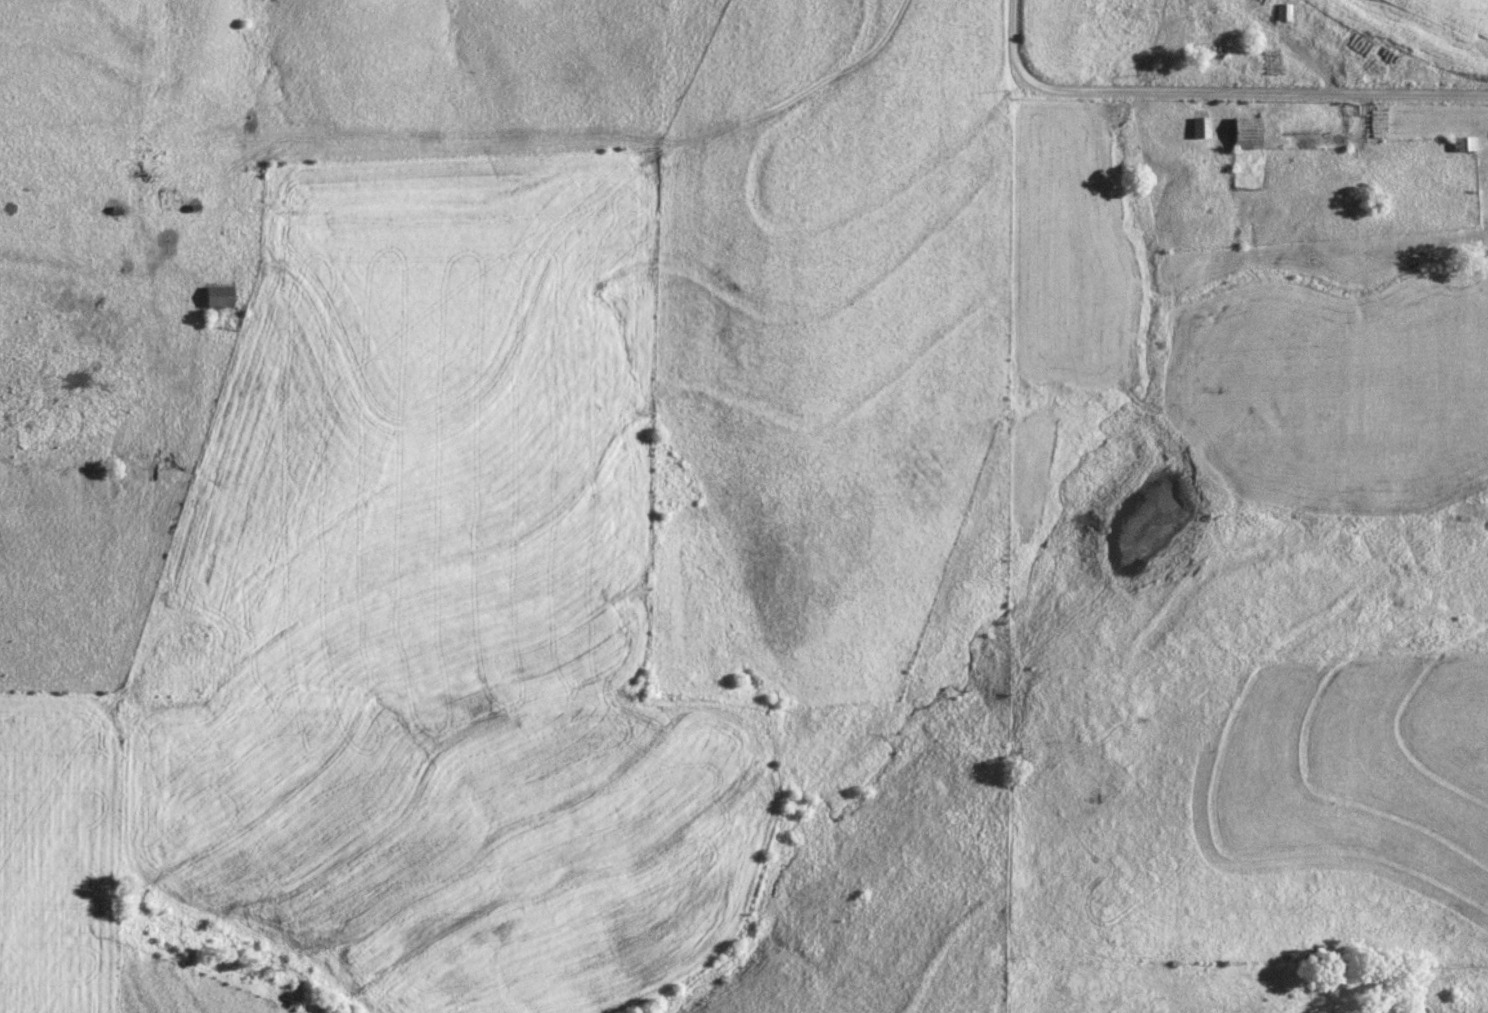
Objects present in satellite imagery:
building: (1281, 12)
building: (1208, 15)
road: (1214, 92)
building: (1198, 127)
building: (1245, 133)
building: (1462, 144)
building: (217, 296)

